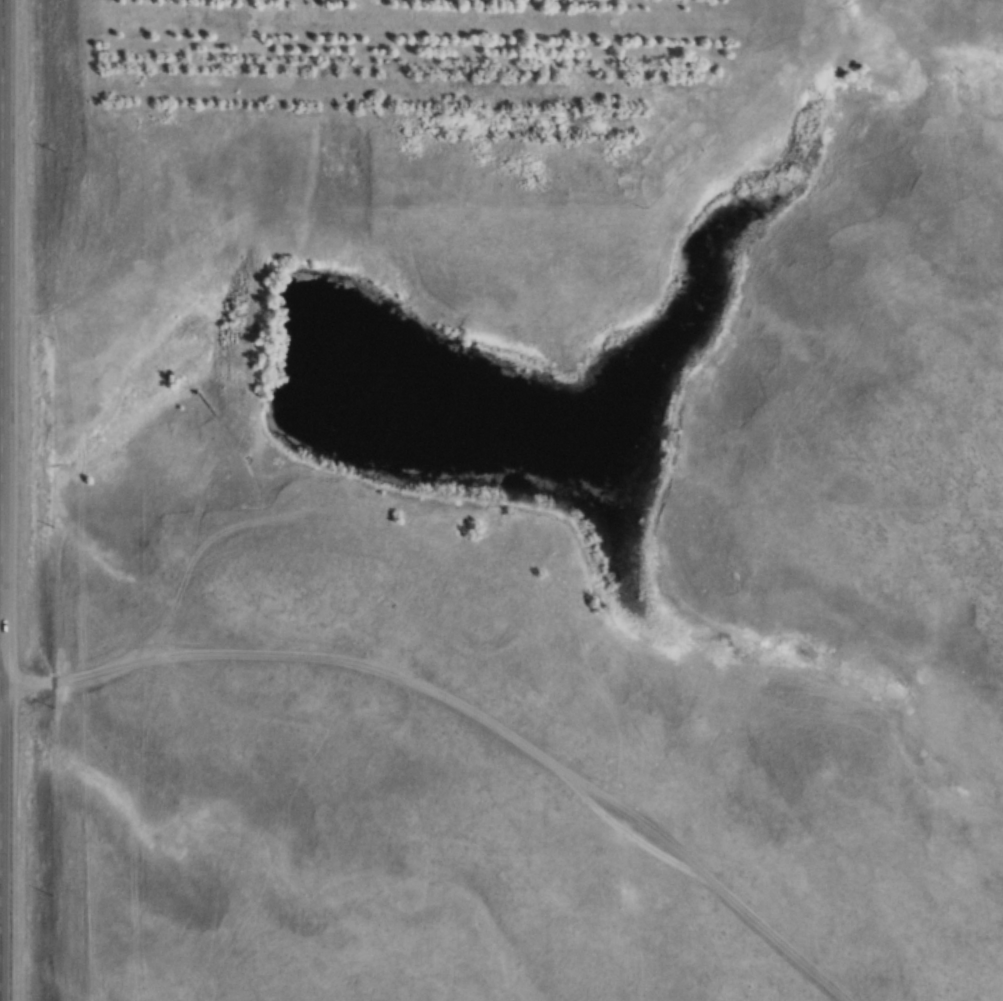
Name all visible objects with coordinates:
road: (453, 714)

